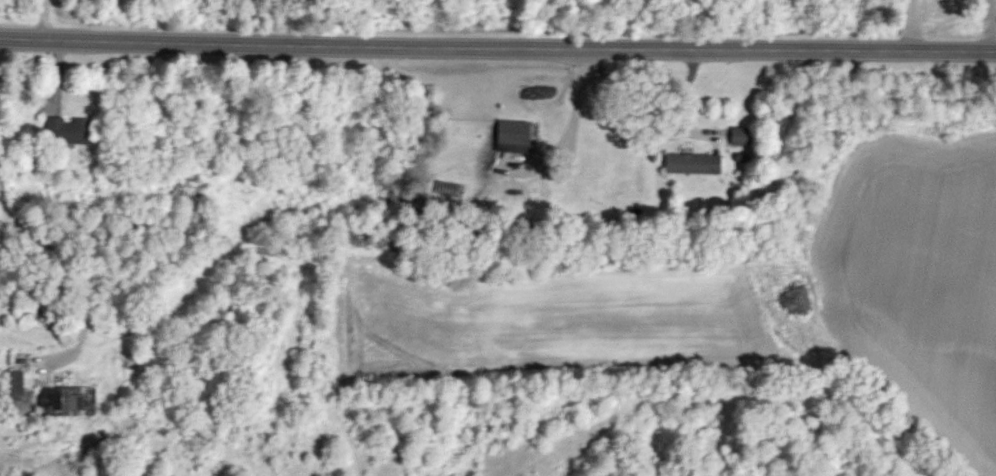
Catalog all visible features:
road: (915, 25)
road: (497, 48)
road: (577, 112)
building: (72, 132)
building: (697, 165)
road: (79, 264)
building: (1, 328)
building: (69, 403)

